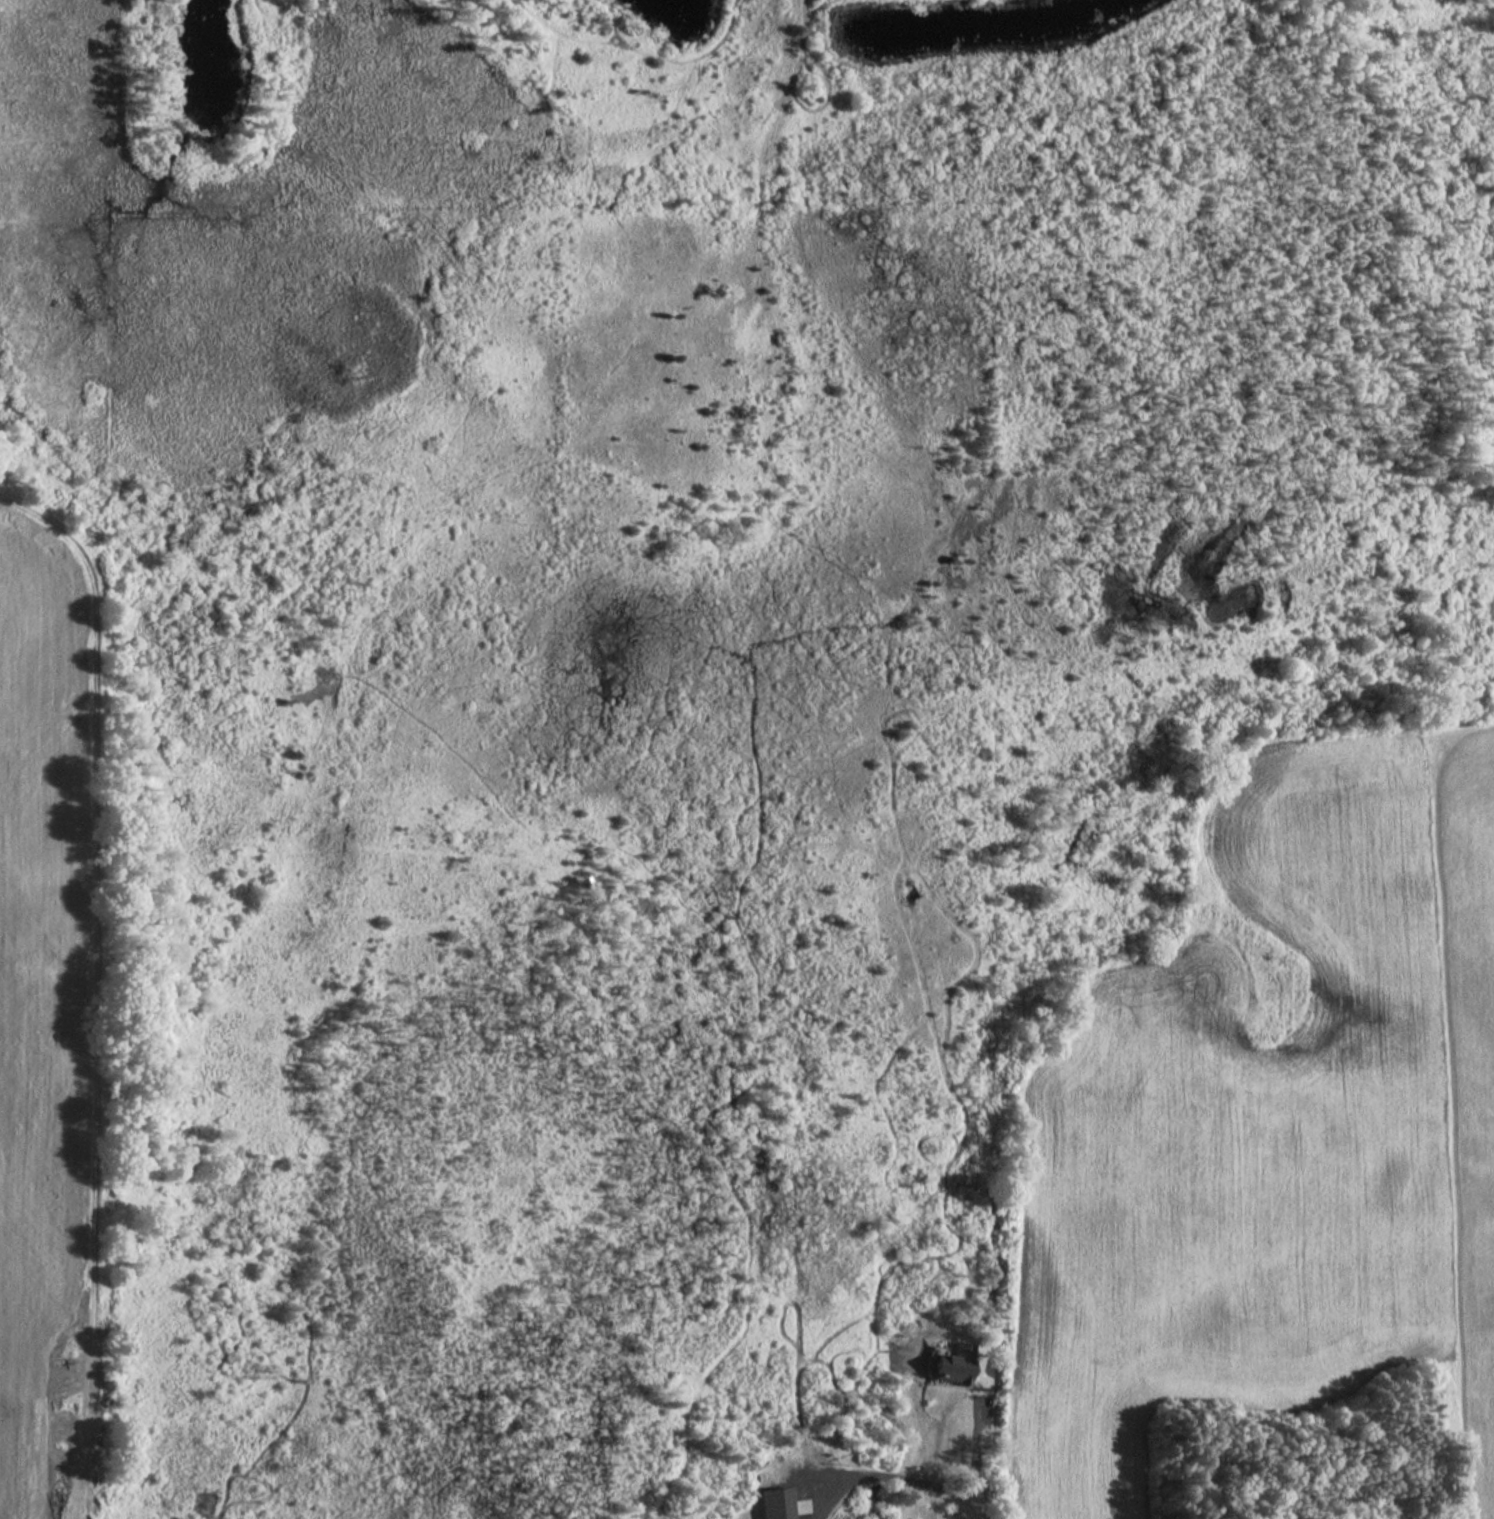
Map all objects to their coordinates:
building: (953, 1364)
road: (937, 1488)
building: (775, 1503)
building: (801, 1506)

